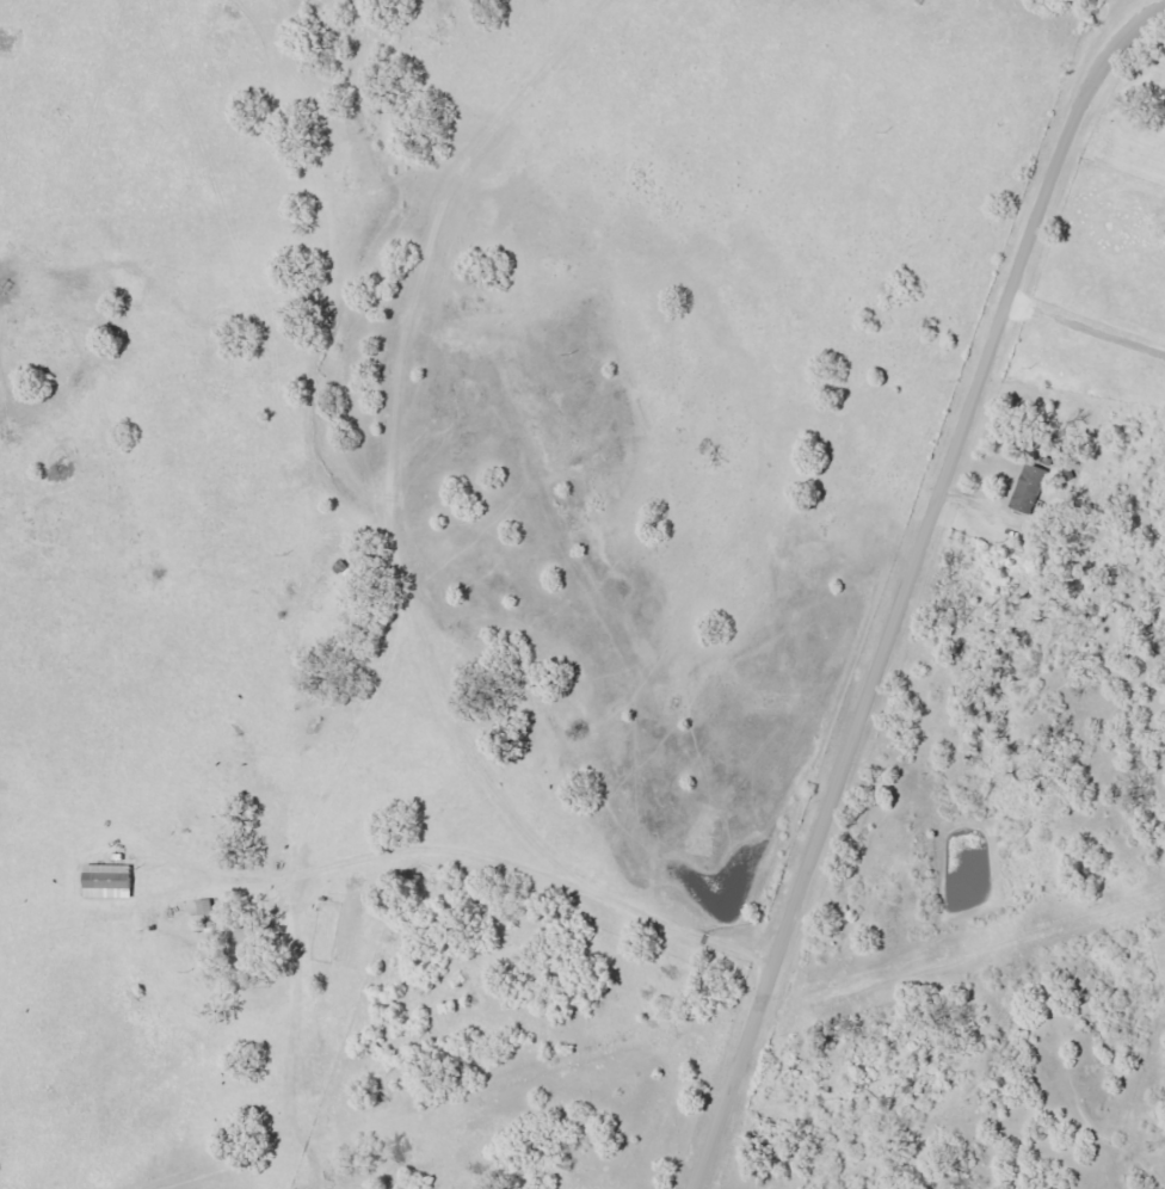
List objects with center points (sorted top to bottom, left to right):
road: (1126, 21)
building: (1024, 487)
road: (910, 585)
building: (110, 881)
building: (197, 906)

